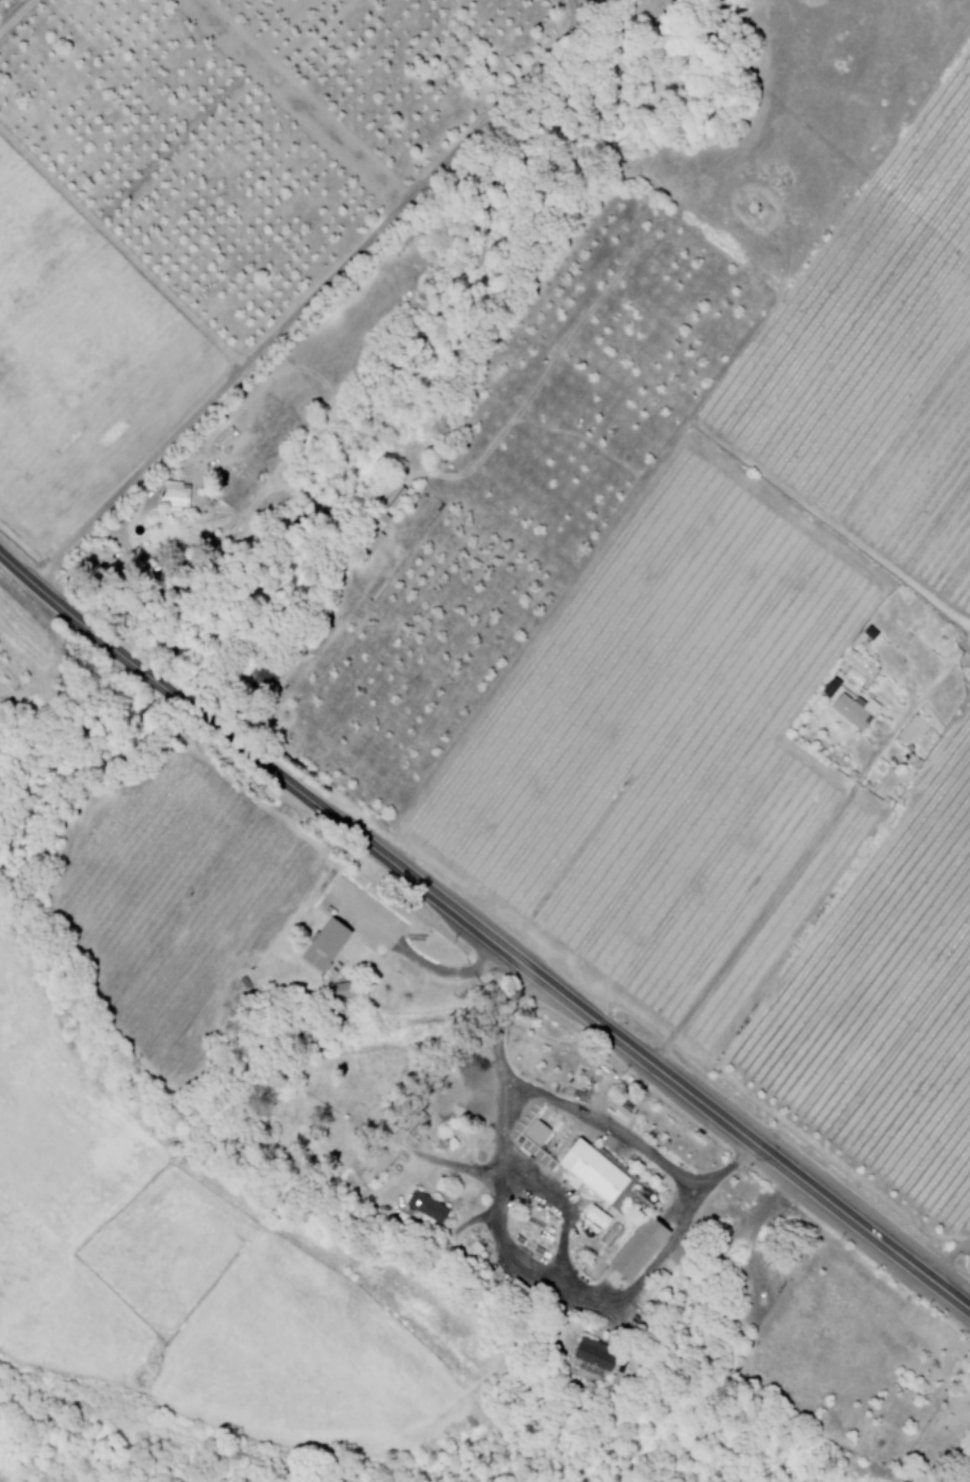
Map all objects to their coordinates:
building: (173, 495)
building: (392, 496)
building: (371, 533)
building: (867, 632)
building: (255, 677)
building: (853, 710)
road: (807, 849)
parking lot: (357, 916)
road: (482, 935)
building: (316, 944)
road: (407, 955)
road: (580, 1111)
building: (412, 1122)
building: (582, 1170)
building: (417, 1207)
building: (587, 1216)
building: (603, 1236)
building: (626, 1248)
building: (654, 1287)
building: (591, 1353)

